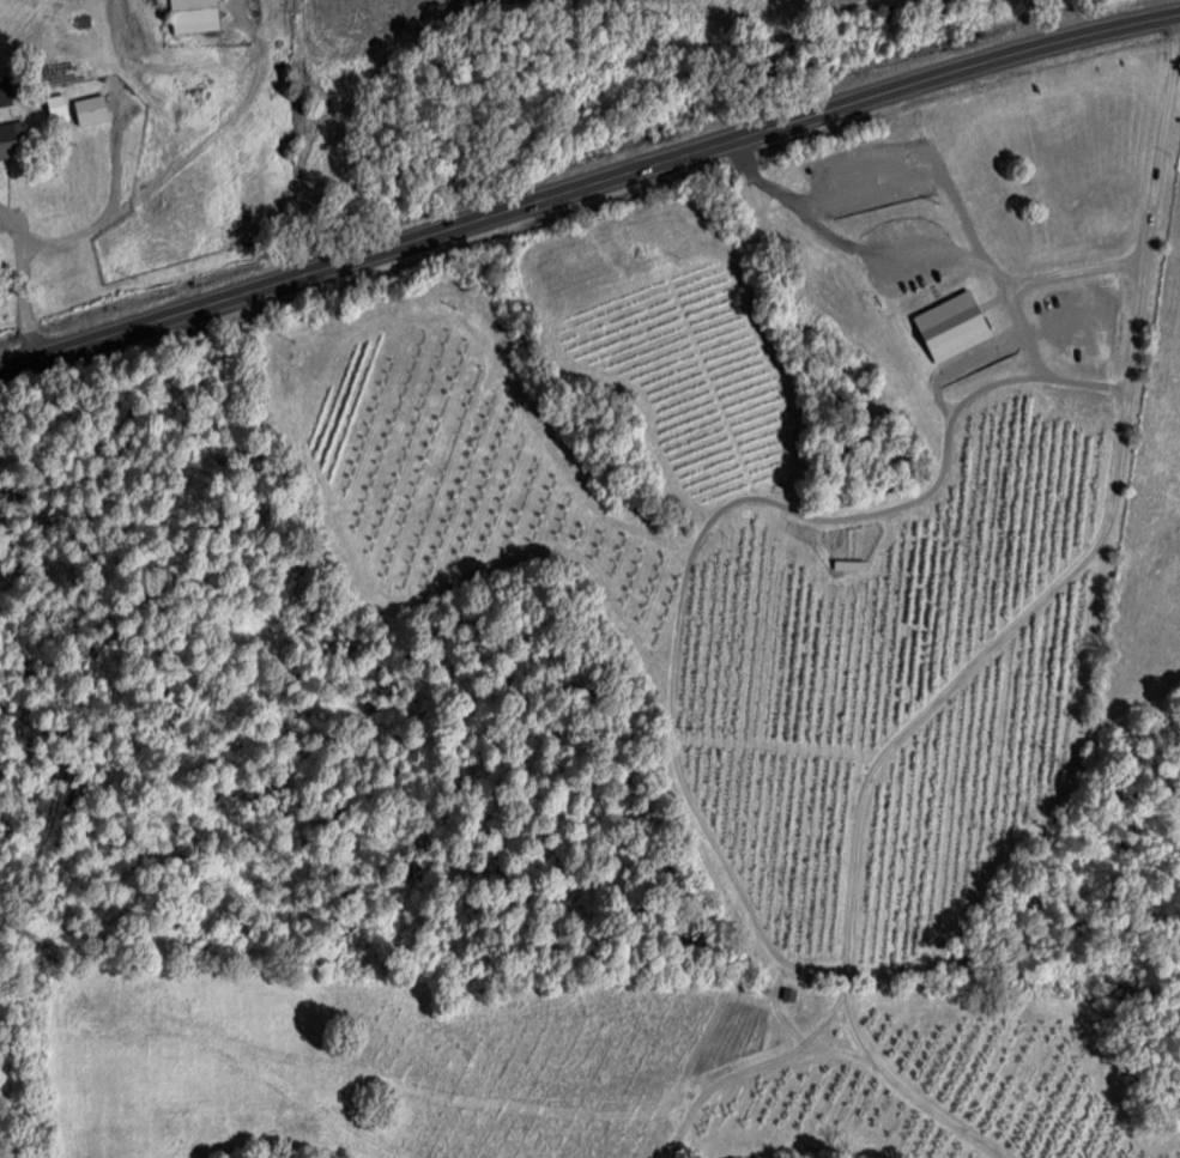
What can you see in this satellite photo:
building: (193, 16)
building: (4, 90)
building: (56, 108)
building: (90, 110)
building: (11, 138)
road: (588, 196)
road: (1007, 633)

